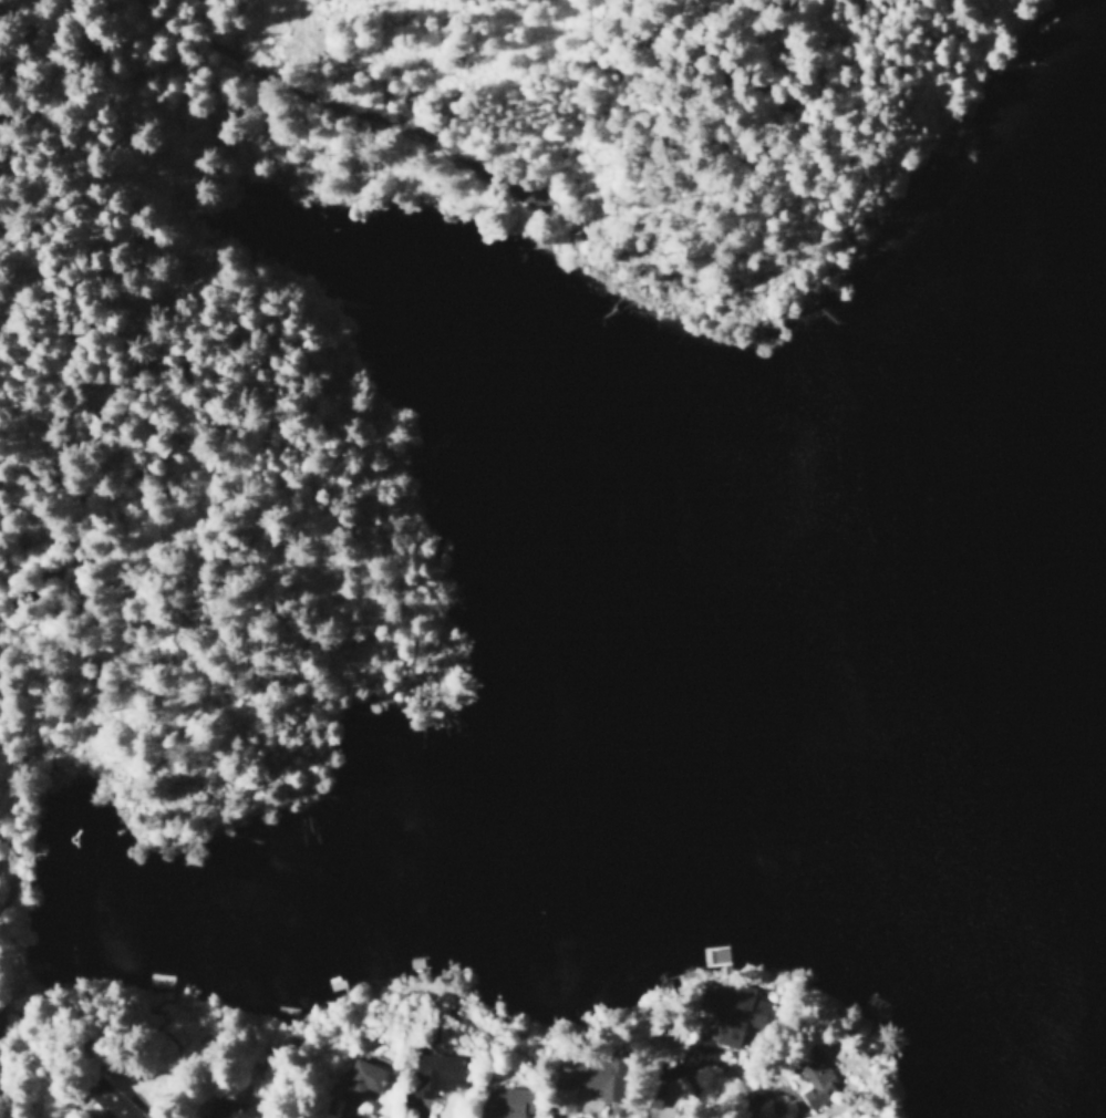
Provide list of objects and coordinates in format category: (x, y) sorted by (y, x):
building: (731, 1008)
building: (433, 1073)
building: (813, 1077)
building: (360, 1080)
building: (566, 1085)
building: (112, 1100)
building: (505, 1103)
building: (228, 1109)

